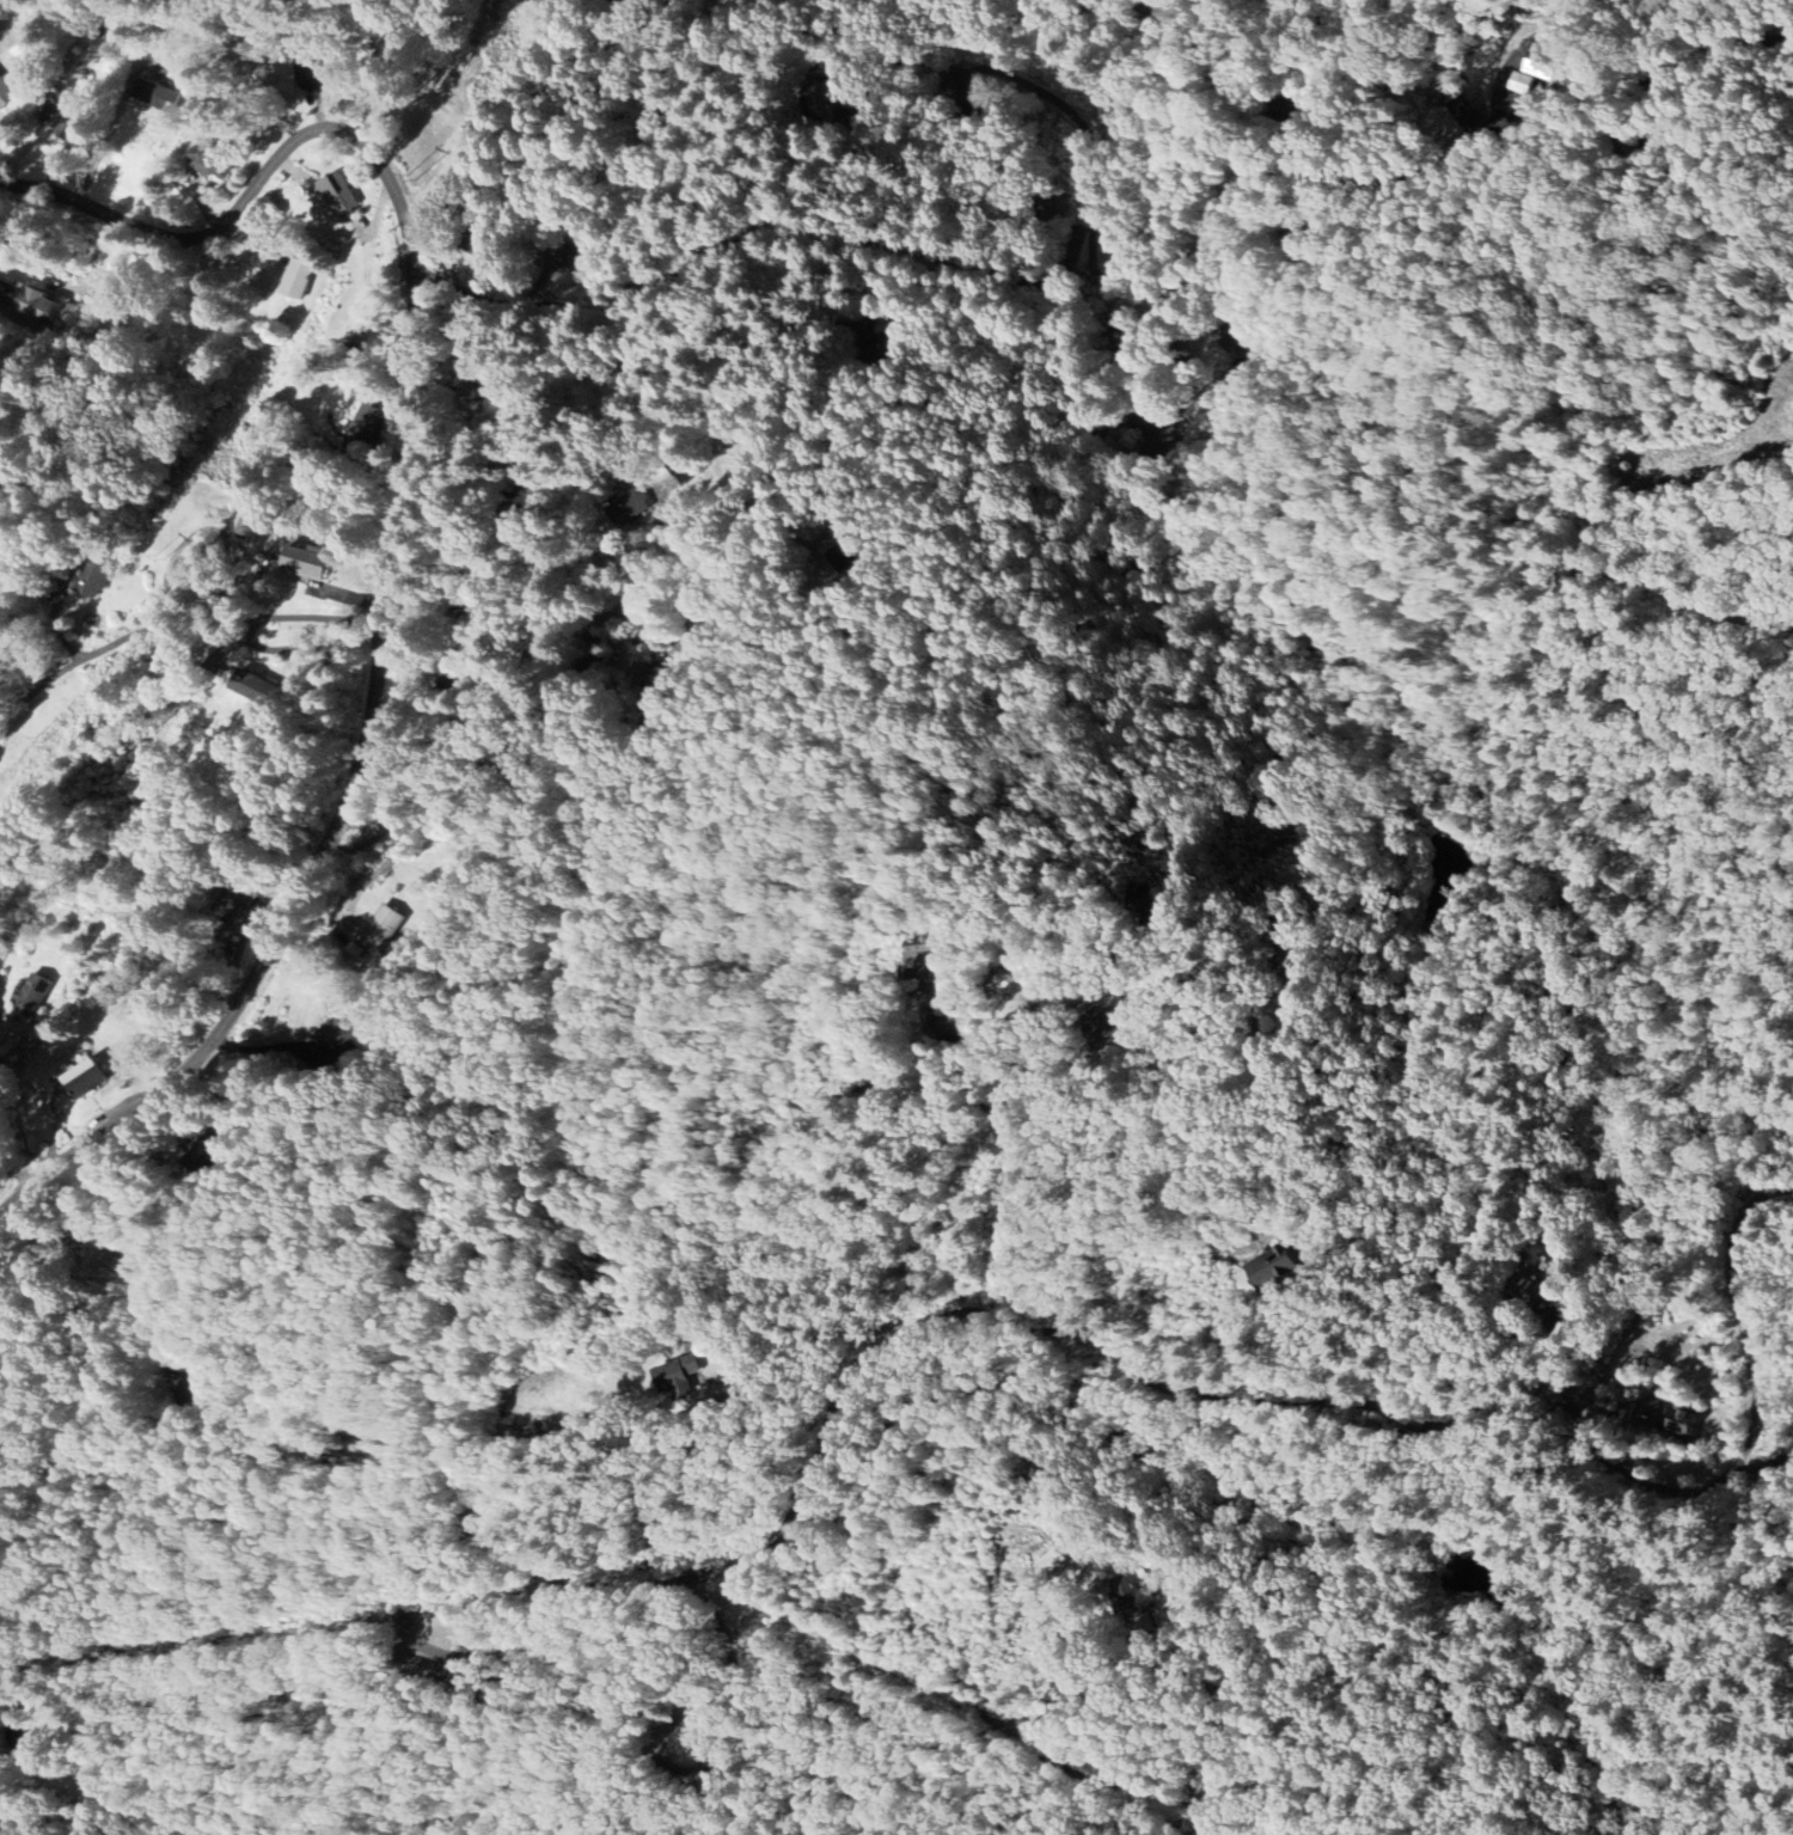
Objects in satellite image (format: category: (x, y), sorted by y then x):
building: (1542, 60)
road: (808, 71)
building: (311, 77)
building: (1518, 82)
building: (154, 94)
building: (1468, 117)
building: (72, 135)
road: (100, 148)
building: (207, 161)
power tower: (411, 176)
road: (246, 191)
building: (333, 194)
building: (492, 253)
building: (295, 280)
road: (1054, 283)
building: (27, 301)
building: (367, 422)
building: (1164, 433)
road: (412, 440)
road: (842, 458)
building: (247, 524)
building: (304, 563)
building: (91, 579)
road: (172, 626)
building: (655, 679)
building: (251, 687)
road: (496, 695)
road: (369, 718)
power tower: (42, 740)
road: (361, 822)
road: (351, 846)
road: (378, 873)
building: (1140, 901)
building: (235, 906)
building: (380, 929)
building: (920, 962)
building: (1000, 984)
building: (29, 996)
building: (0, 1007)
building: (343, 1036)
road: (206, 1044)
building: (82, 1081)
road: (20, 1131)
building: (1271, 1268)
building: (678, 1376)
road: (851, 1376)
building: (1647, 1412)
building: (1681, 1423)
road: (1756, 1426)
building: (1134, 1605)
road: (1032, 1755)

